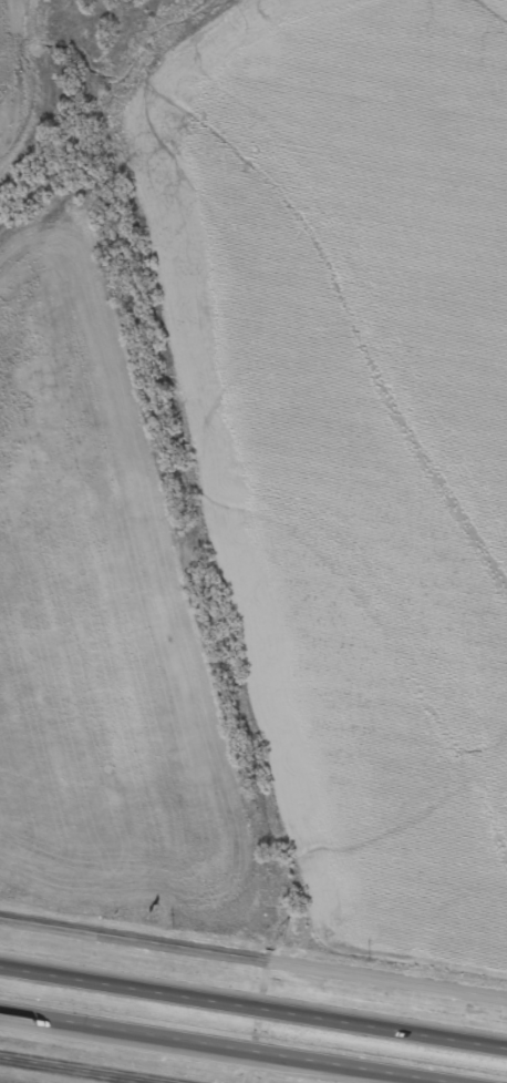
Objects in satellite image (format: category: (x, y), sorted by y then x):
road: (253, 961)
road: (253, 1011)
road: (223, 1050)
road: (82, 1070)

